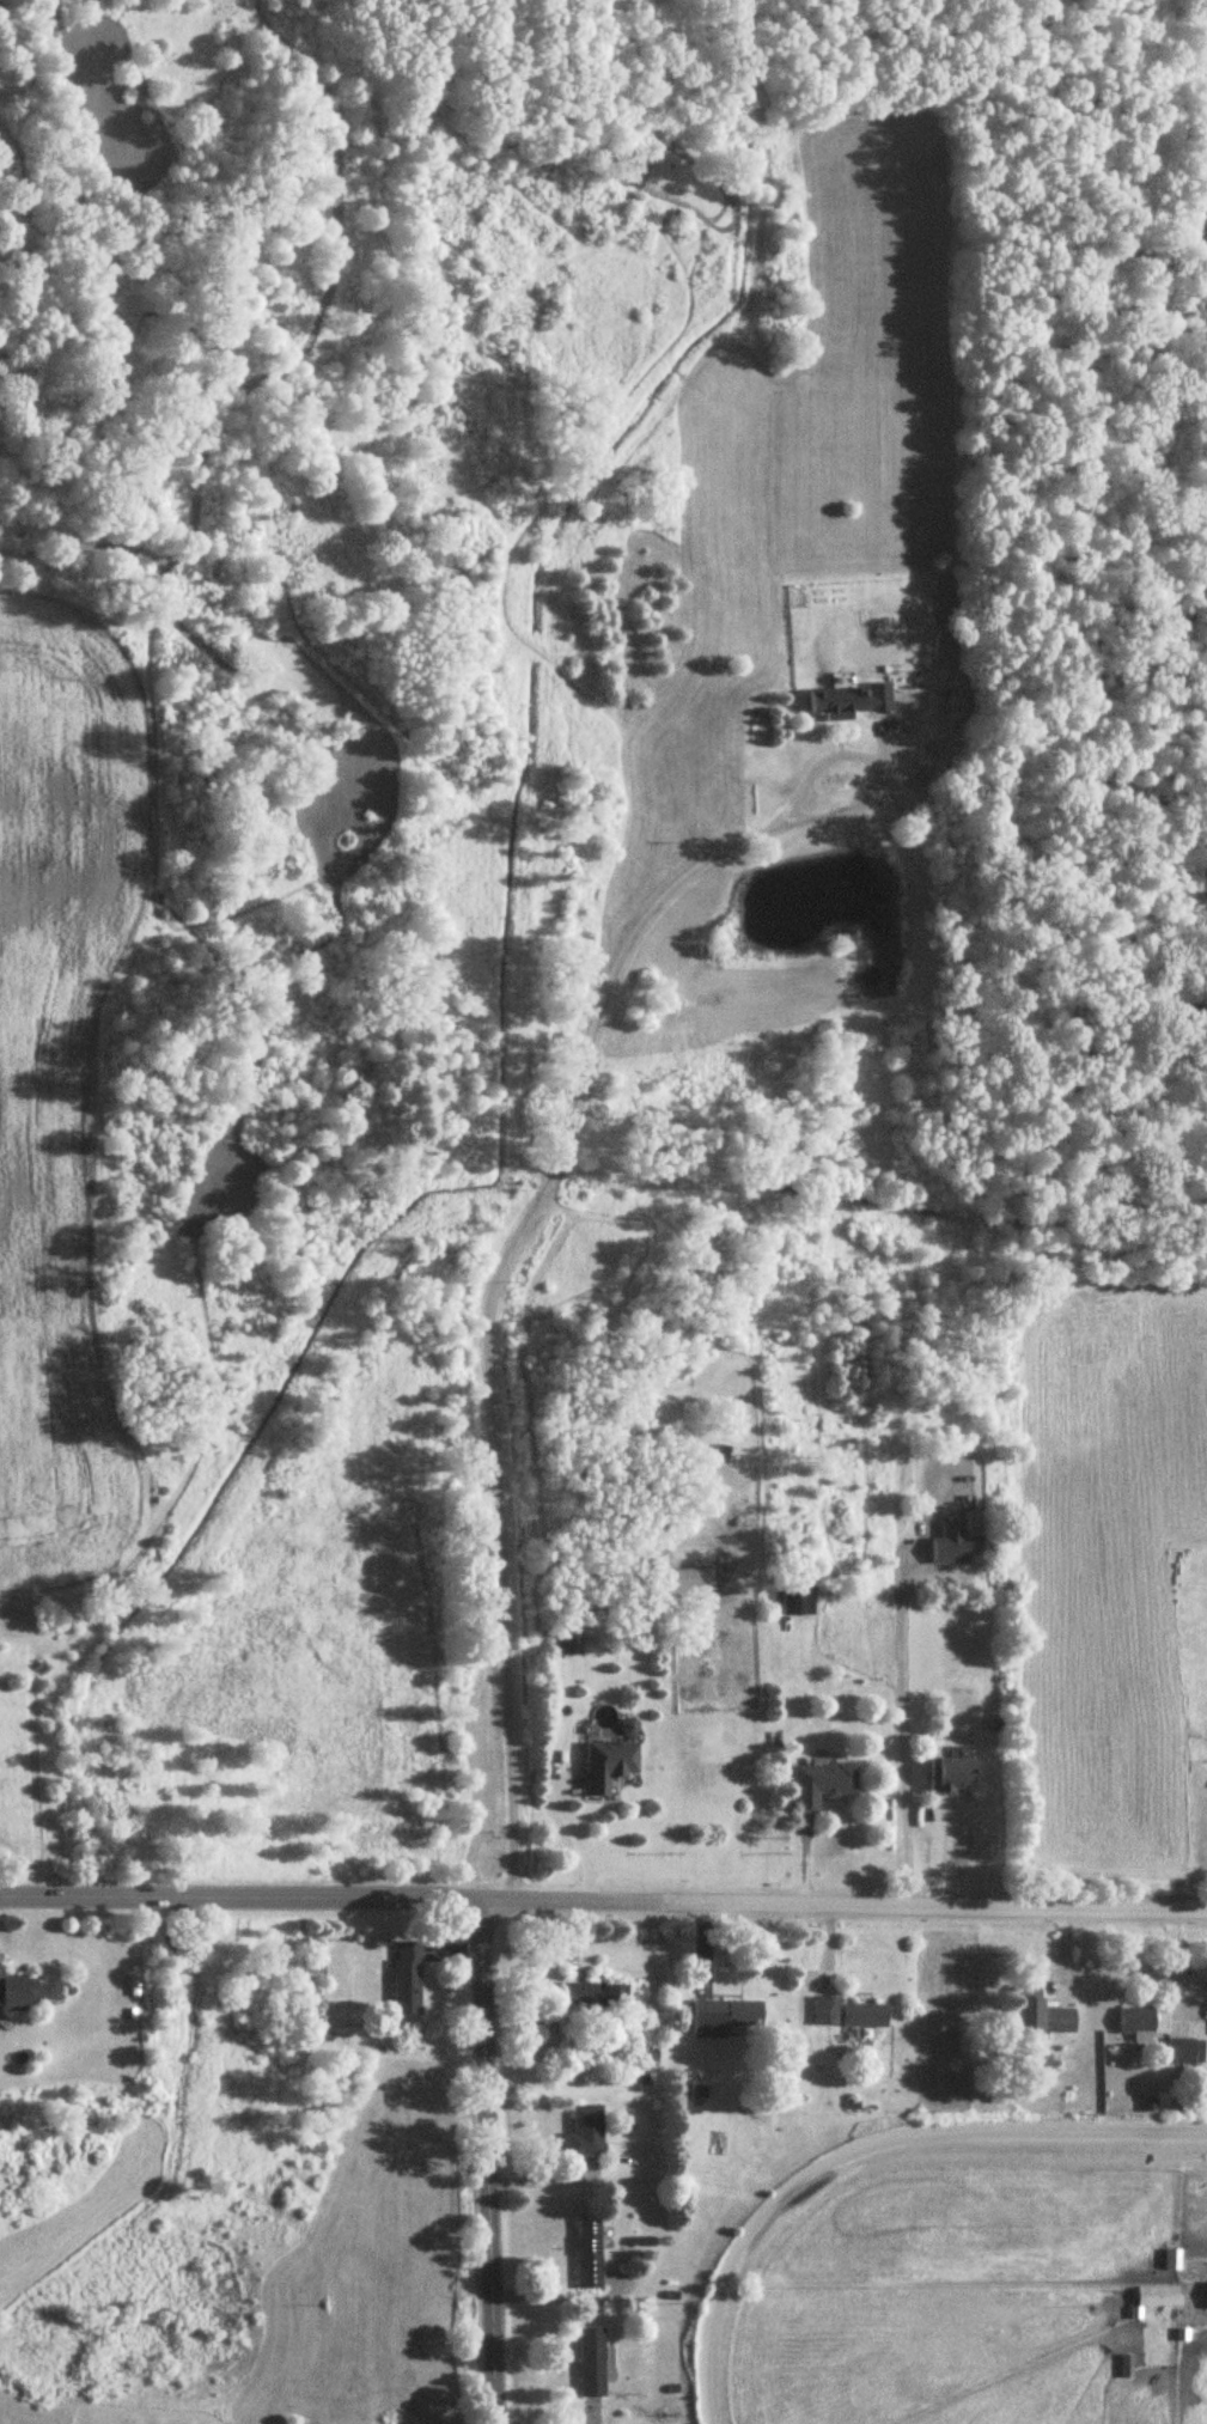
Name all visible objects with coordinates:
building: (849, 700)
road: (500, 1272)
building: (720, 1455)
building: (953, 1546)
building: (797, 1602)
building: (567, 1634)
road: (902, 1740)
building: (609, 1766)
building: (958, 1776)
building: (822, 1785)
road: (334, 1894)
road: (938, 1904)
building: (407, 1980)
building: (18, 1994)
building: (595, 1999)
building: (824, 2012)
building: (1040, 2015)
building: (724, 2017)
building: (865, 2020)
building: (1136, 2024)
building: (1184, 2053)
building: (585, 2132)
road: (859, 2143)
road: (478, 2160)
building: (589, 2255)
building: (1170, 2261)
building: (1158, 2298)
road: (555, 2301)
building: (592, 2364)
building: (1124, 2367)

